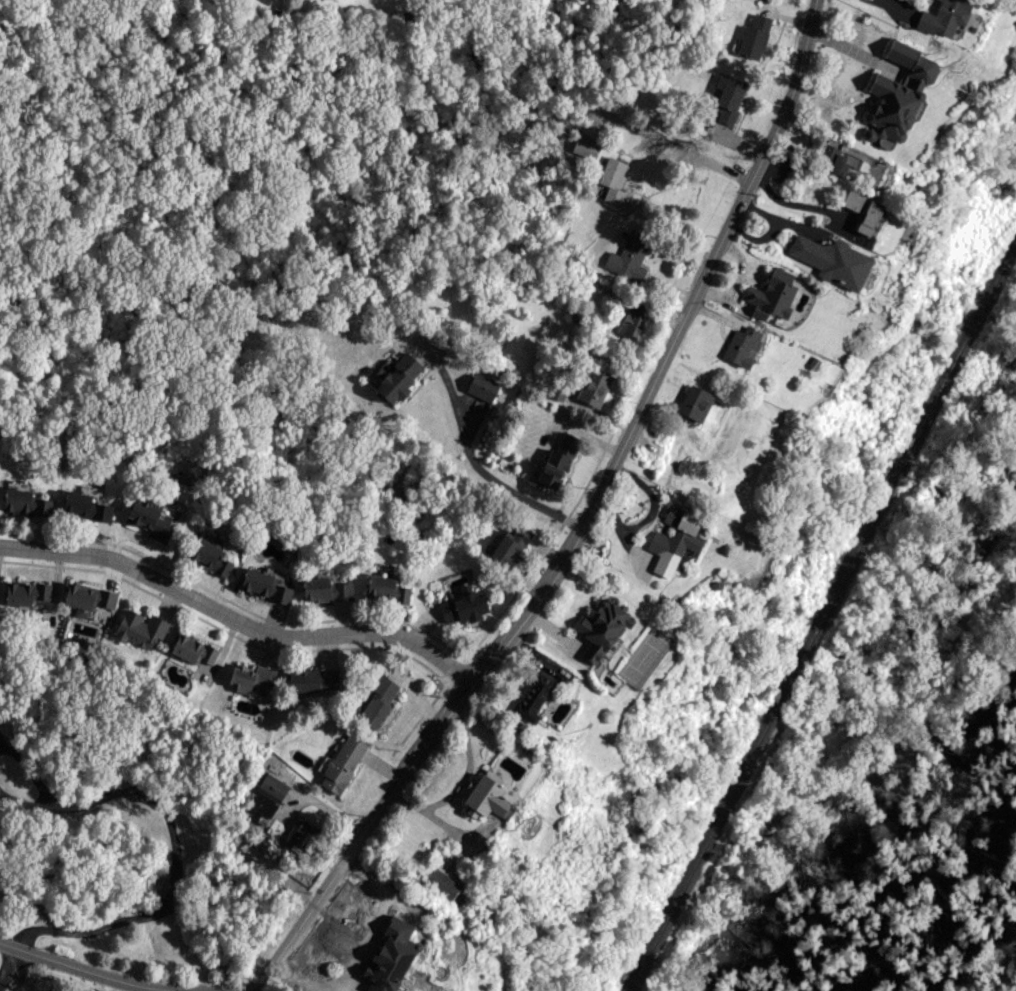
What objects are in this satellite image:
road: (696, 158)
road: (792, 203)
road: (484, 478)
road: (651, 514)
road: (580, 532)
railway: (823, 615)
road: (237, 624)
park: (885, 734)
road: (32, 771)
road: (458, 782)
road: (26, 800)
road: (172, 875)
road: (377, 921)
road: (8, 963)
road: (89, 971)
road: (290, 978)
road: (256, 987)

